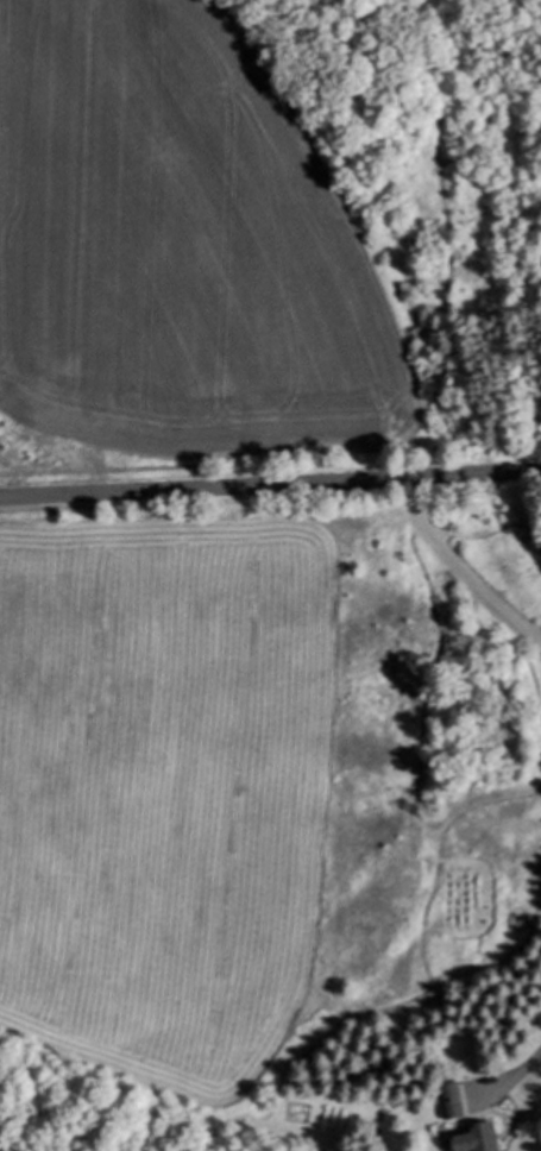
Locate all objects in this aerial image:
road: (270, 486)
road: (459, 572)
road: (514, 1073)
building: (458, 1102)
building: (480, 1140)

